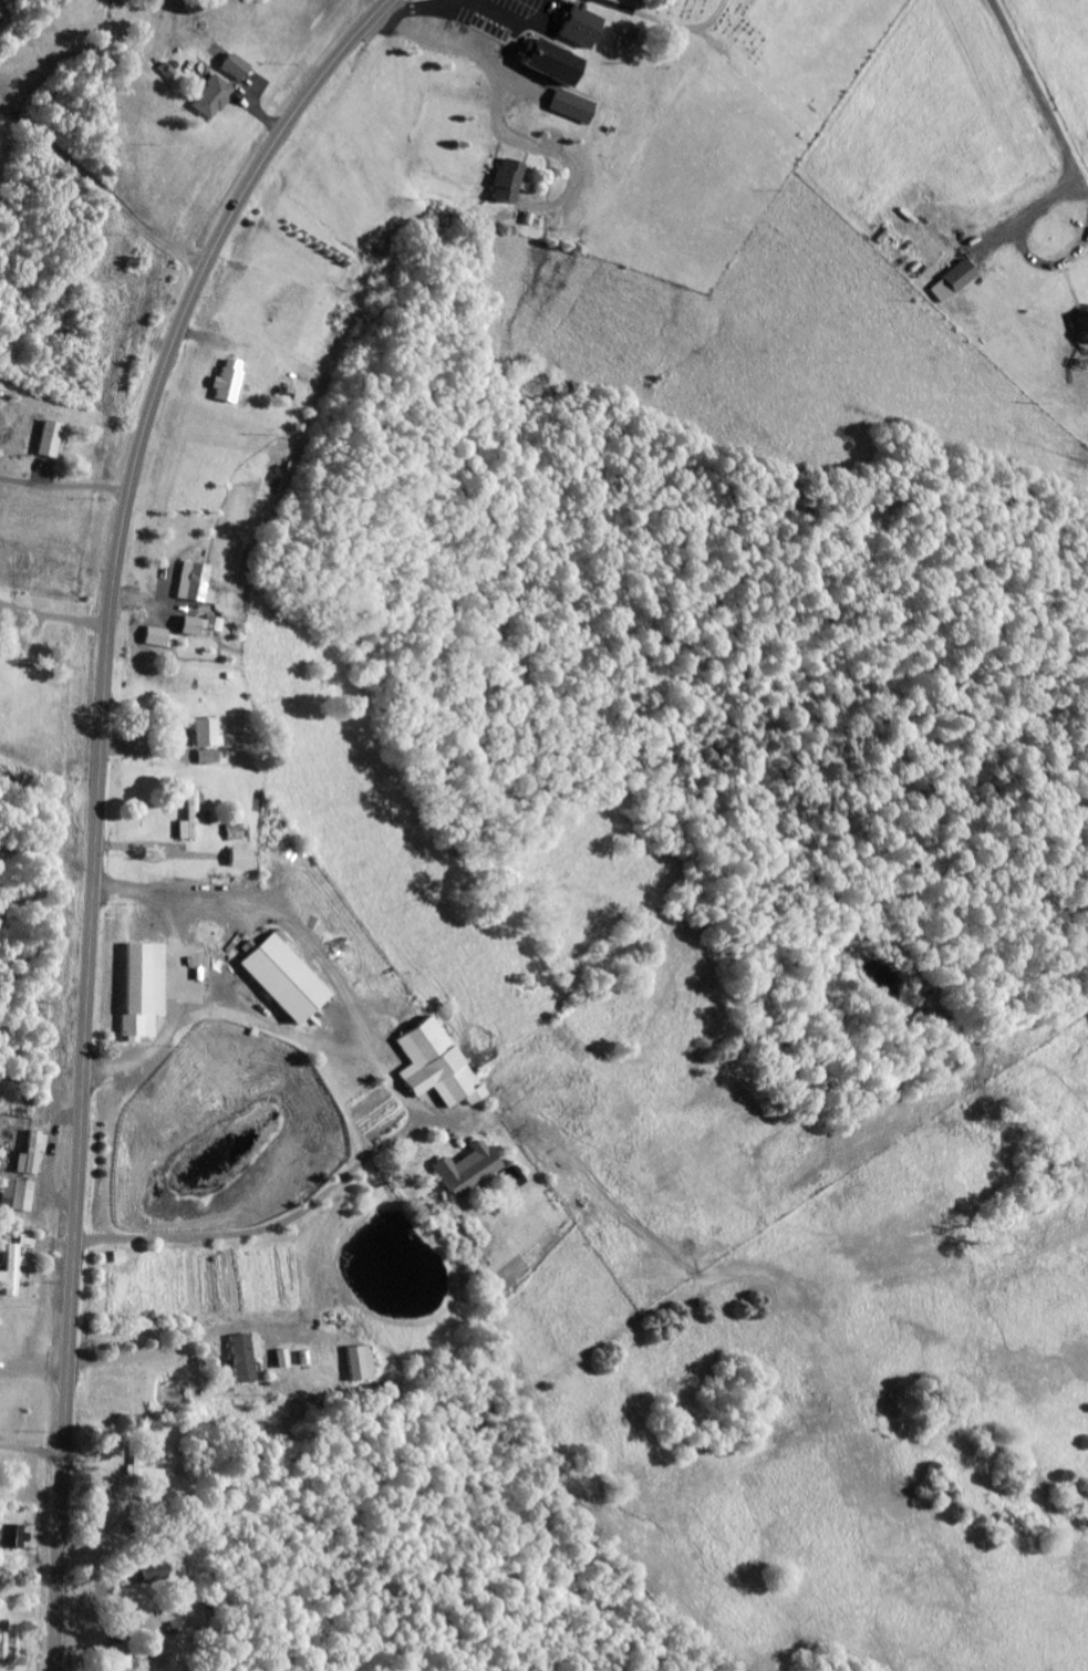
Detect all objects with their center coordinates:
building: (584, 28)
building: (556, 62)
building: (238, 68)
building: (215, 98)
building: (574, 107)
building: (510, 181)
building: (955, 282)
building: (1084, 330)
building: (229, 383)
building: (52, 440)
building: (195, 584)
building: (200, 626)
building: (162, 640)
building: (208, 734)
building: (206, 758)
road: (99, 799)
building: (193, 818)
building: (234, 833)
building: (242, 860)
building: (288, 980)
building: (146, 993)
road: (166, 1011)
road: (265, 1025)
building: (437, 1067)
road: (403, 1091)
building: (34, 1155)
building: (470, 1171)
building: (515, 1177)
building: (19, 1196)
building: (17, 1266)
road: (162, 1348)
building: (246, 1359)
building: (284, 1359)
building: (362, 1363)
road: (32, 1446)
building: (147, 1474)
road: (105, 1529)
building: (14, 1537)
building: (152, 1574)
building: (3, 1643)
building: (123, 1658)

